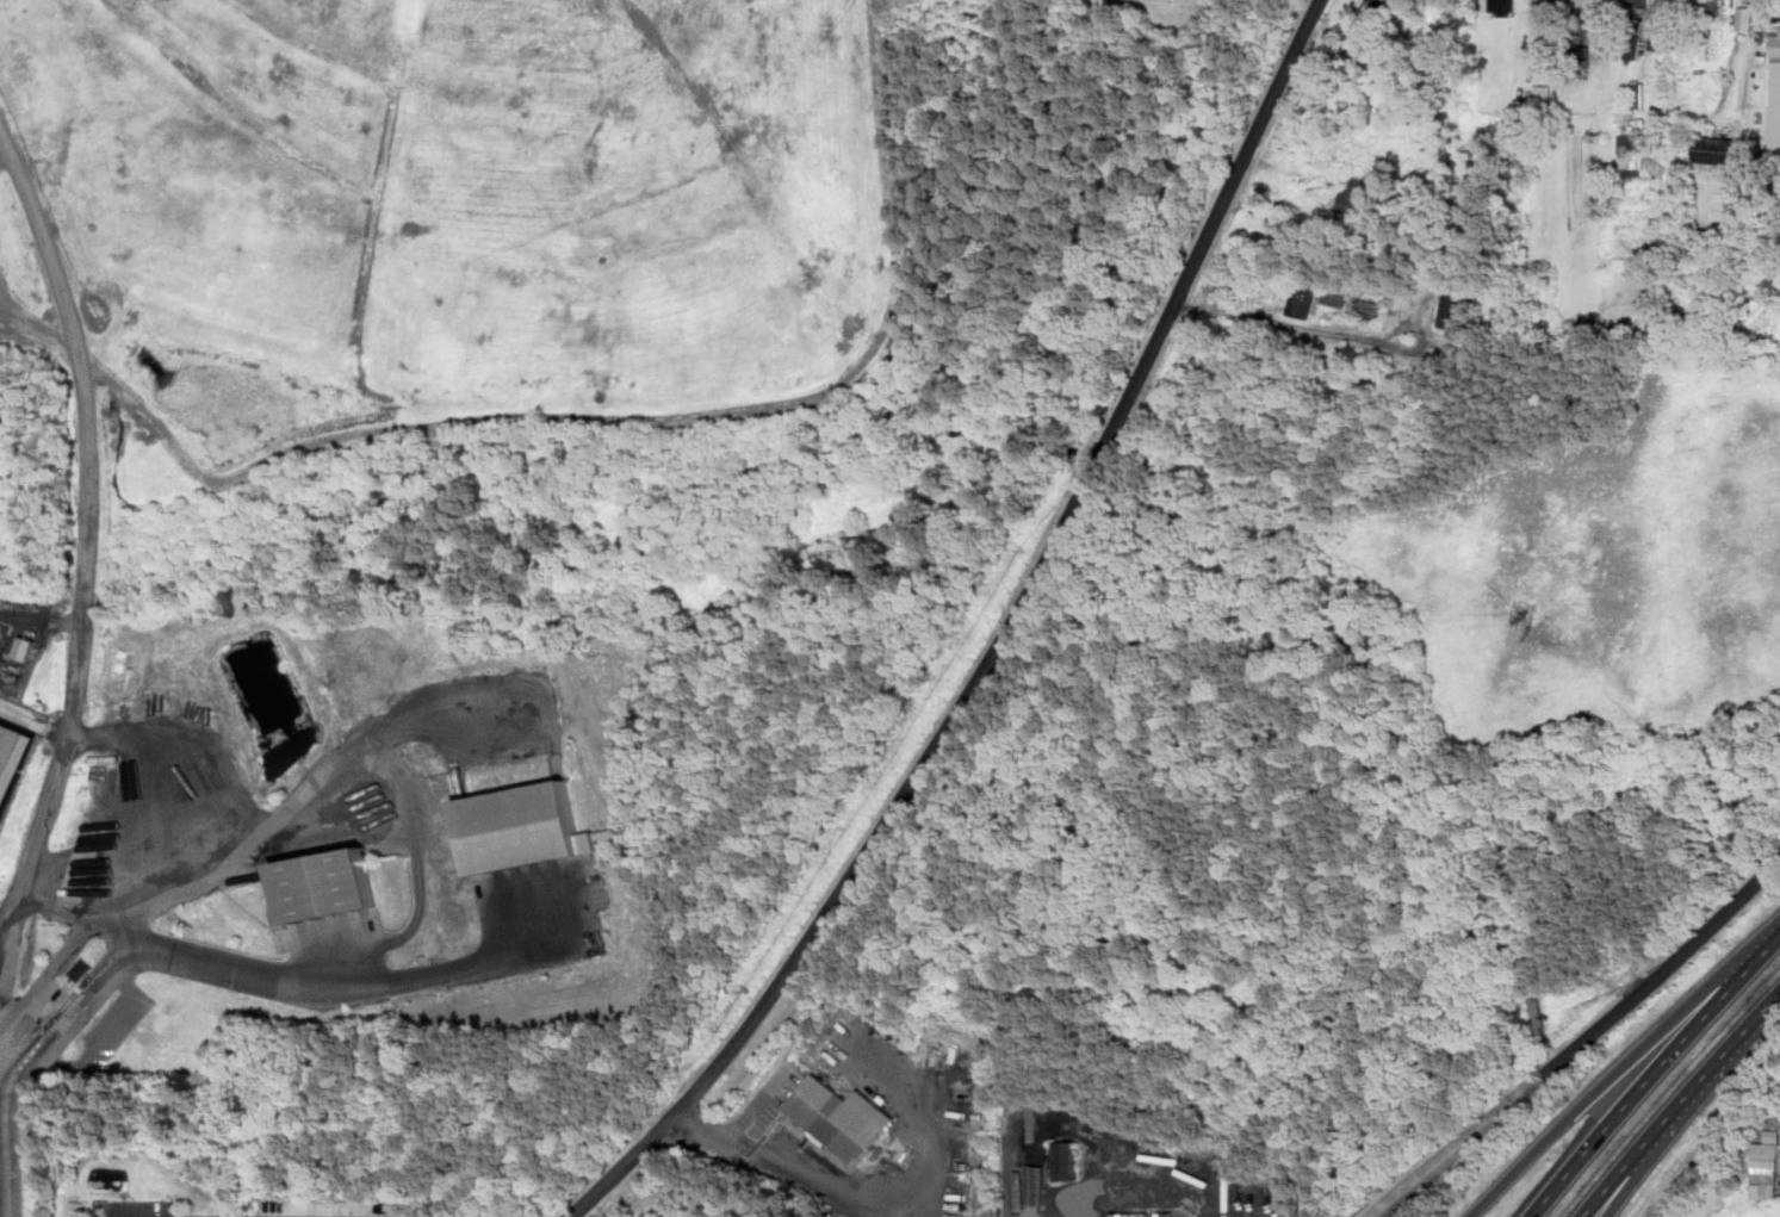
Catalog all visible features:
building: (1388, 4)
building: (1641, 4)
building: (1712, 6)
building: (1503, 7)
building: (1745, 18)
building: (1661, 39)
building: (1776, 43)
building: (1632, 51)
building: (1543, 93)
building: (1638, 93)
building: (1631, 125)
building: (1658, 136)
building: (1627, 139)
building: (1716, 151)
building: (1637, 166)
building: (1354, 194)
building: (1336, 294)
building: (1305, 296)
building: (1455, 308)
landfill: (532, 460)
building: (1528, 615)
road: (999, 642)
road: (79, 671)
road: (36, 725)
building: (1655, 728)
road: (367, 759)
building: (14, 764)
road: (148, 787)
building: (519, 826)
wastewater plant: (32, 847)
building: (325, 884)
road: (5, 937)
building: (82, 969)
road: (48, 973)
road: (287, 977)
road: (1623, 989)
road: (77, 1023)
road: (1582, 1043)
road: (1621, 1068)
road: (1651, 1074)
road: (763, 1100)
road: (1680, 1104)
building: (843, 1117)
road: (1650, 1159)
building: (1066, 1161)
building: (1766, 1166)
road: (873, 1204)
road: (1053, 1211)
road: (1371, 1215)
road: (1376, 1215)

